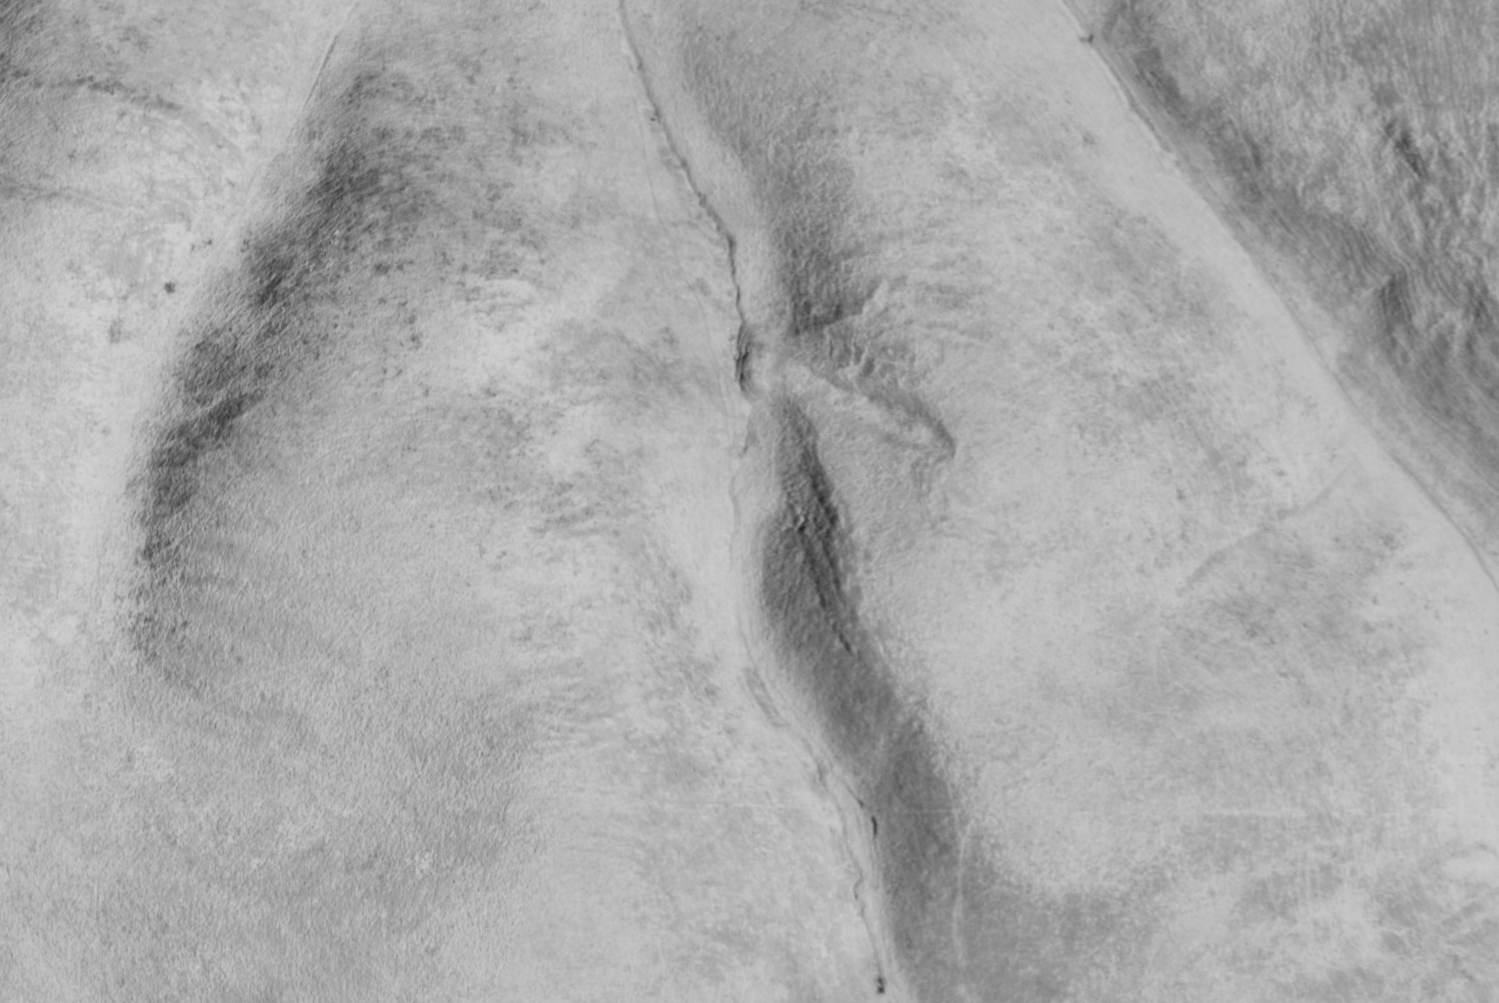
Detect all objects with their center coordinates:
road: (1219, 209)

